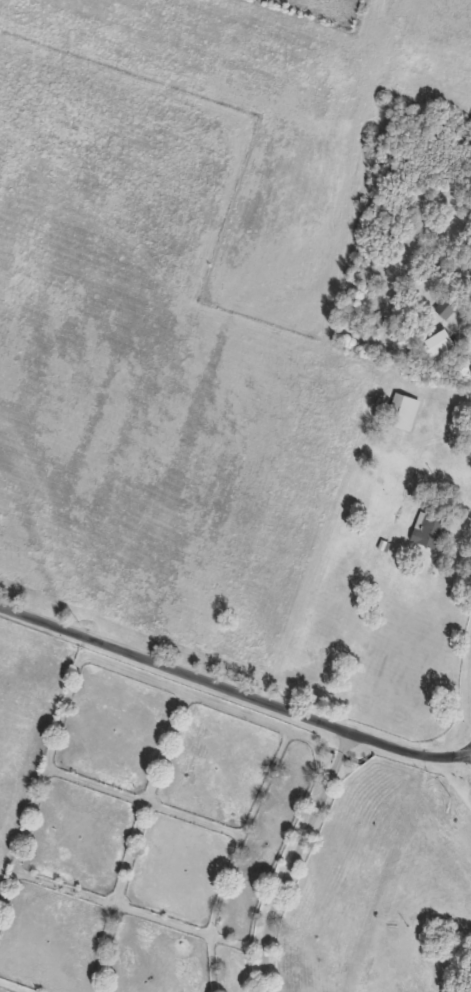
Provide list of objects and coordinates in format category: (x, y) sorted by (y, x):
building: (443, 307)
building: (436, 342)
building: (401, 412)
building: (427, 531)
road: (233, 696)
road: (291, 860)

